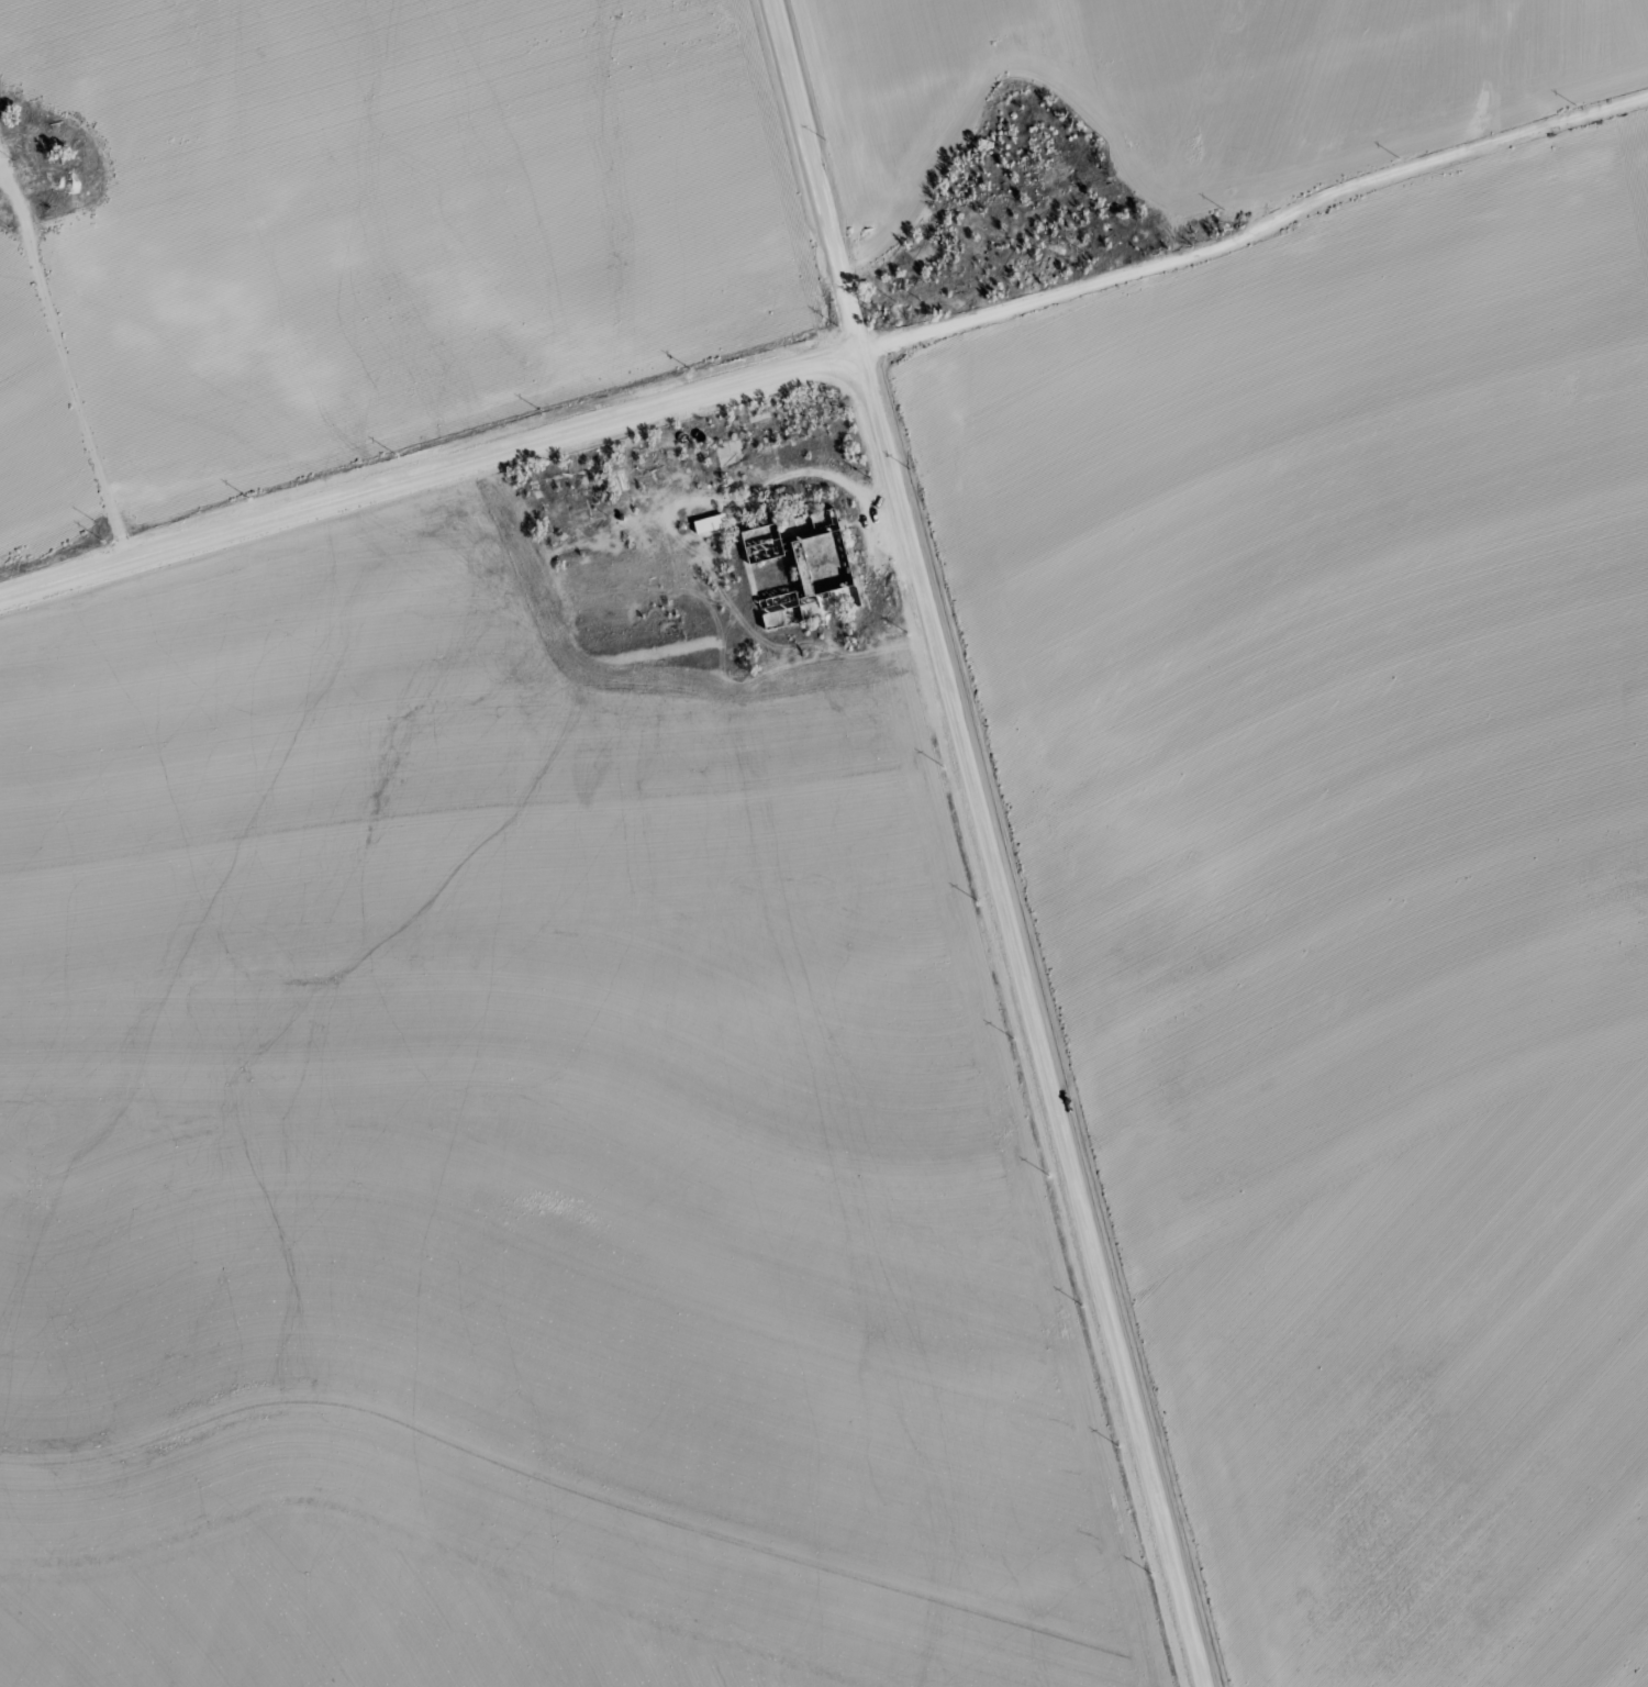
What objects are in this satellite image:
road: (811, 173)
road: (75, 395)
road: (428, 469)
building: (794, 564)
road: (1031, 1015)

